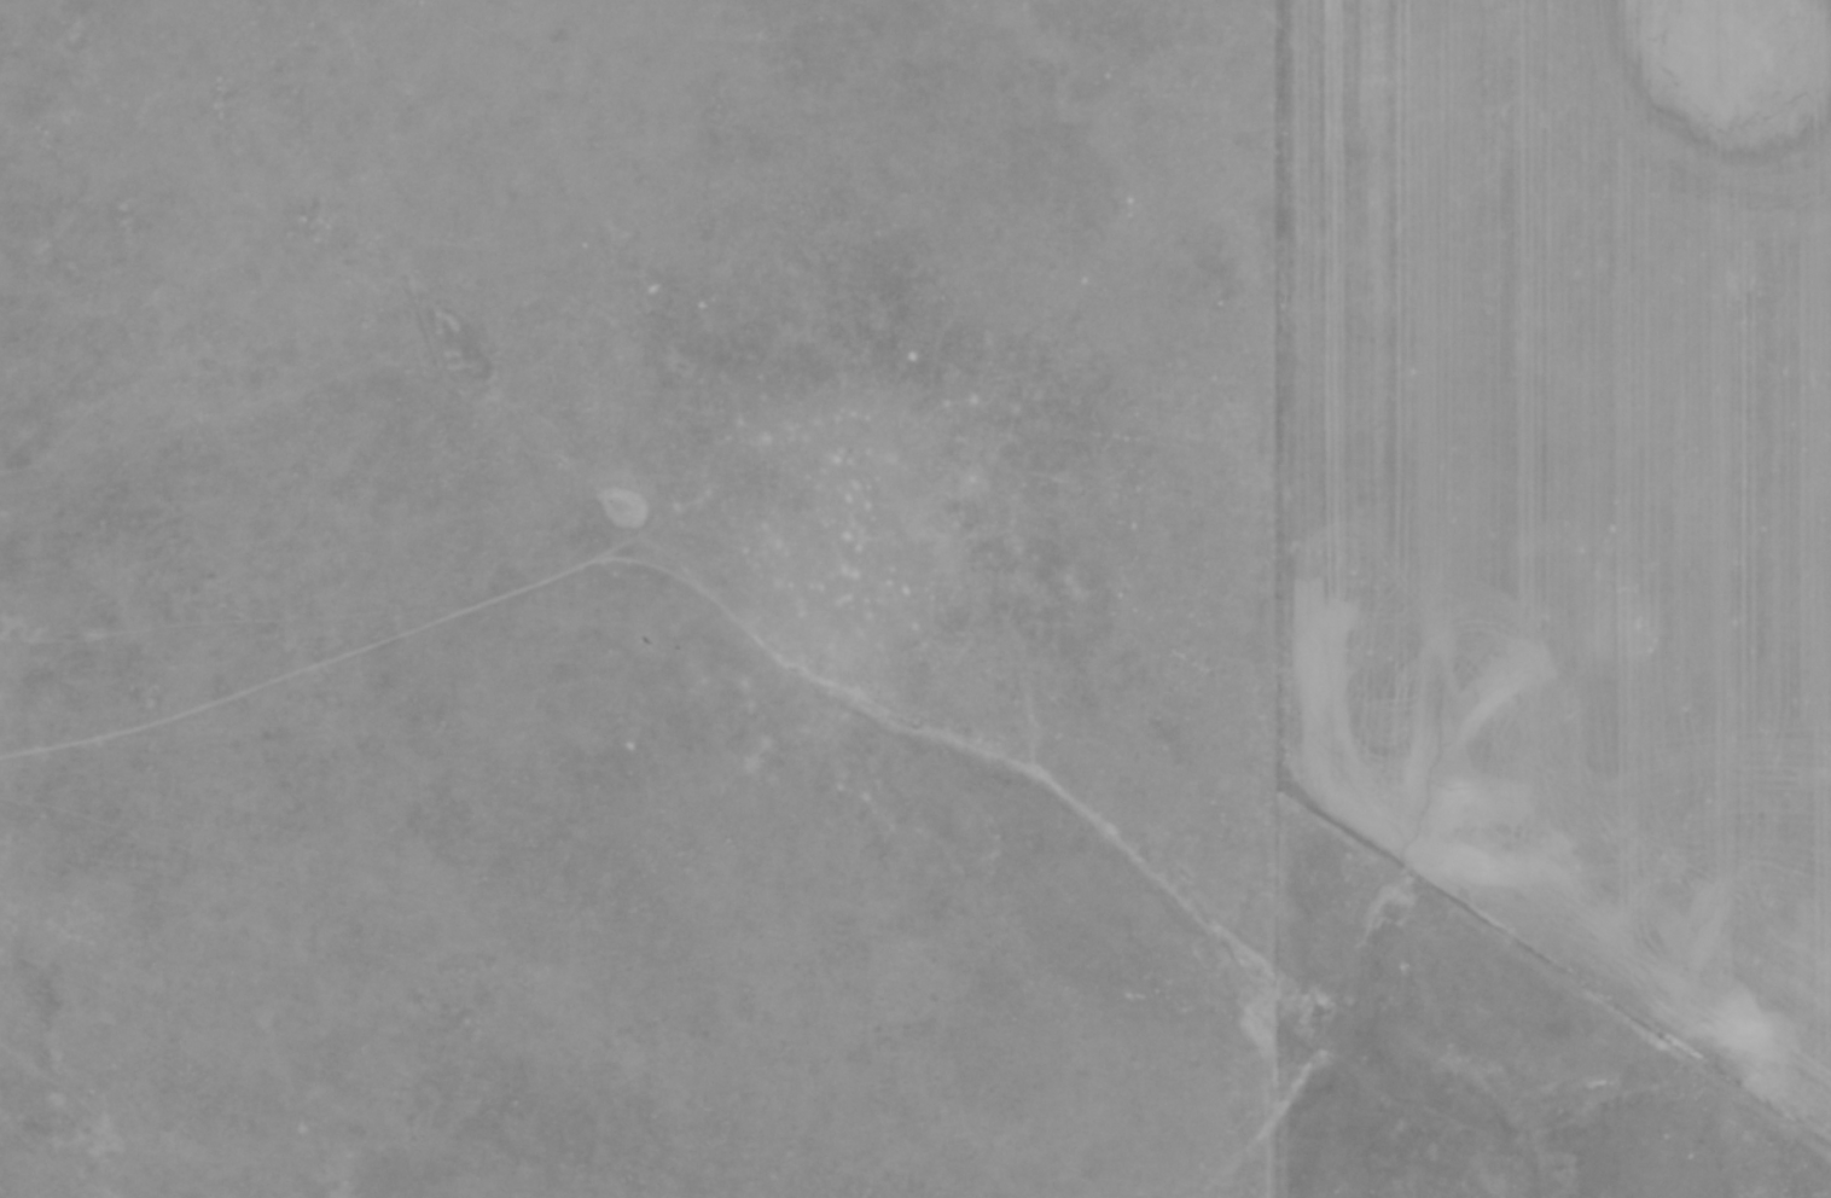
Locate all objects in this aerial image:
crop: (1574, 488)

